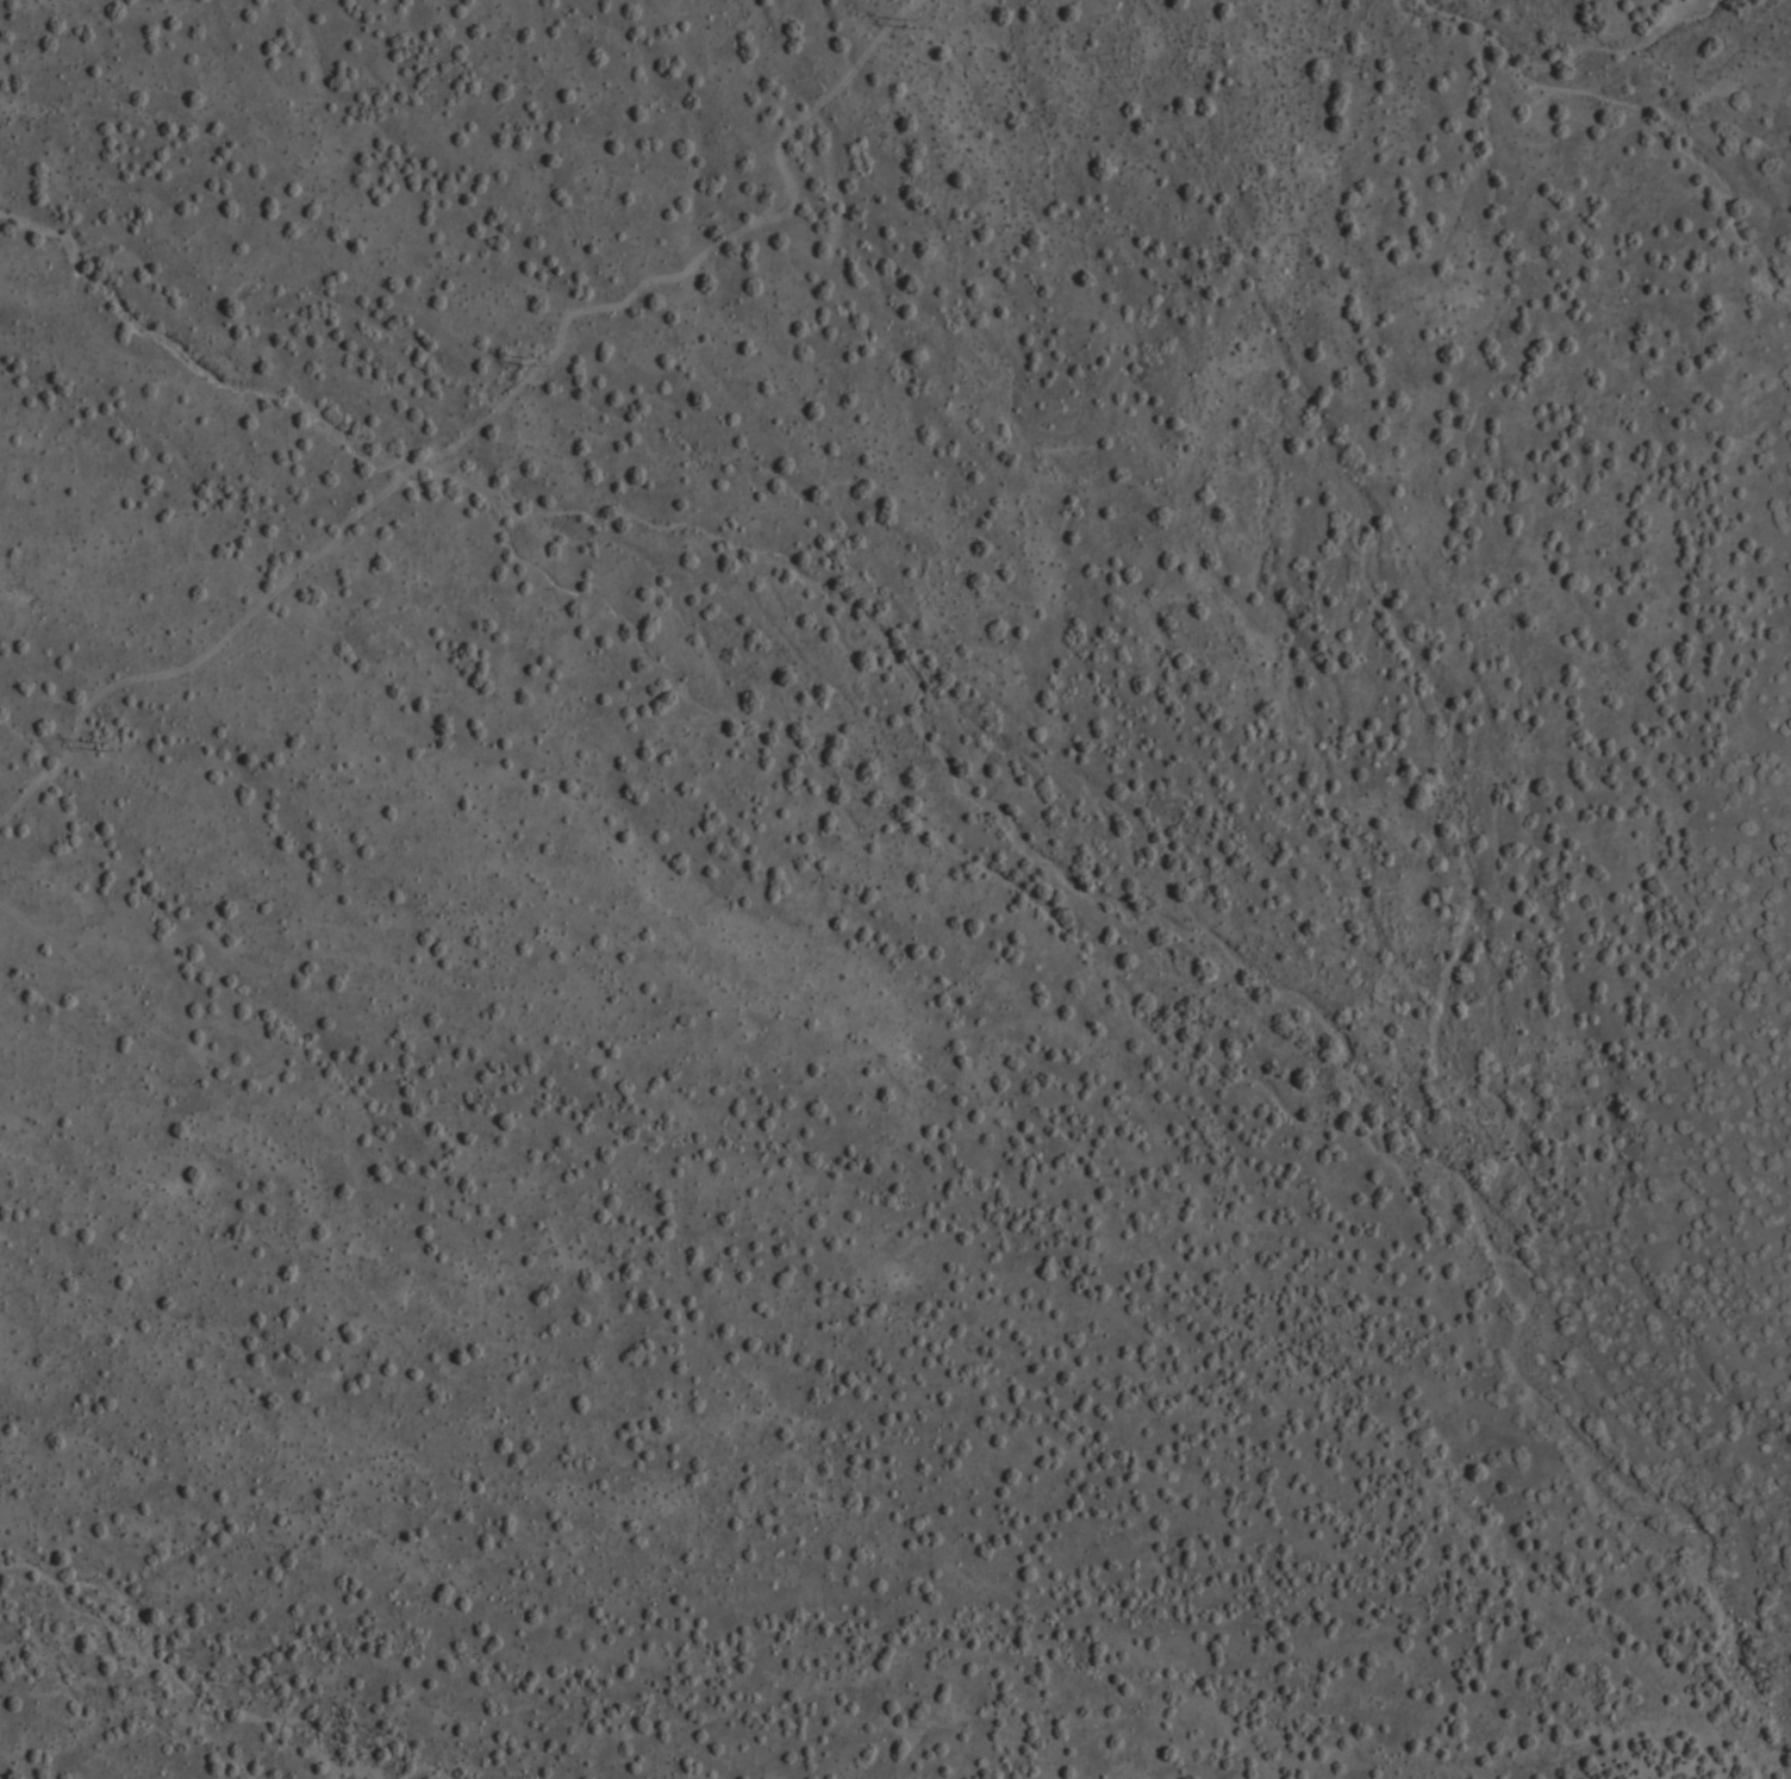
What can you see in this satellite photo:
power tower: (906, 21)
power tower: (531, 362)
power tower: (95, 743)

